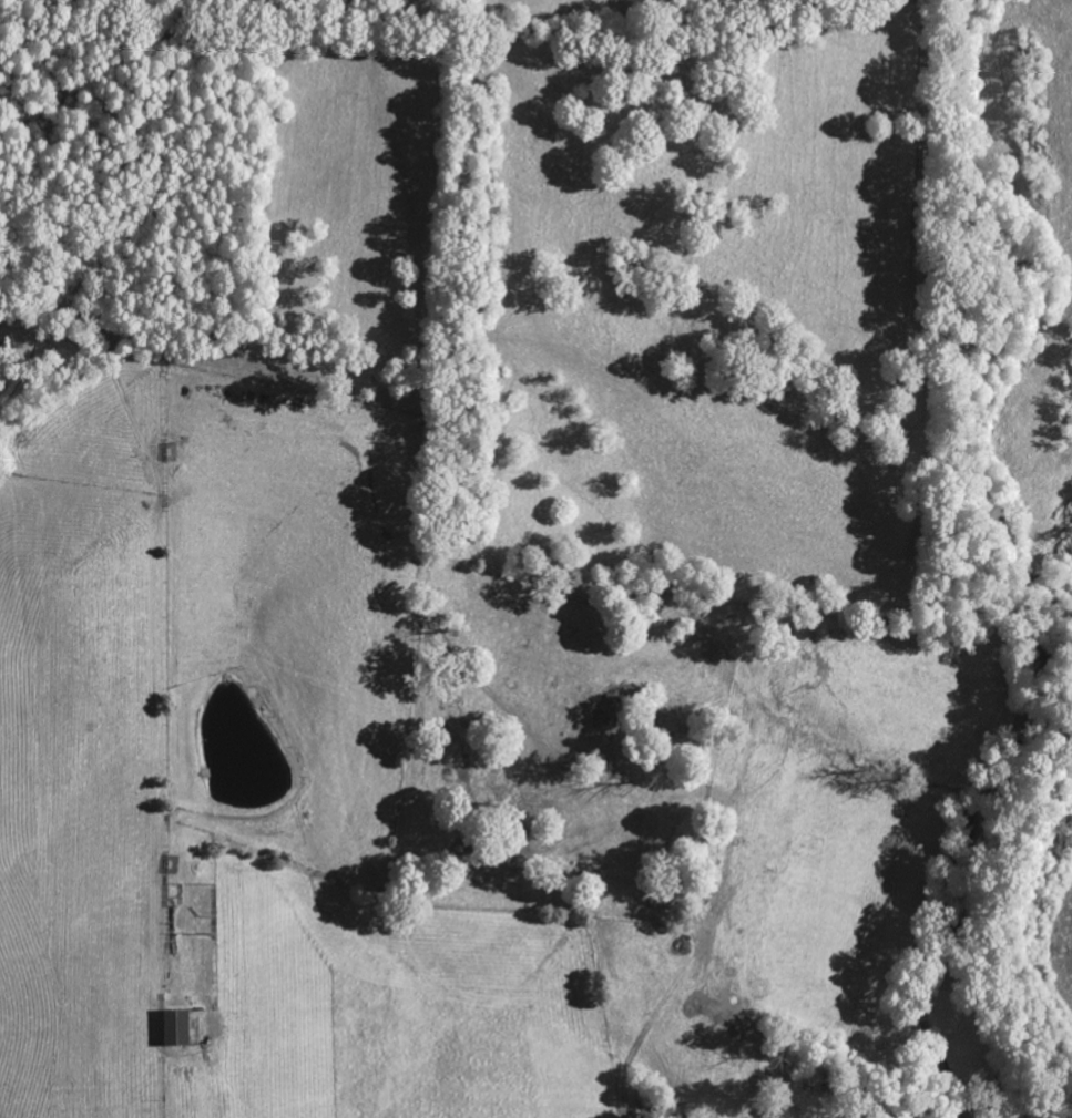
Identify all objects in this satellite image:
building: (178, 1028)

